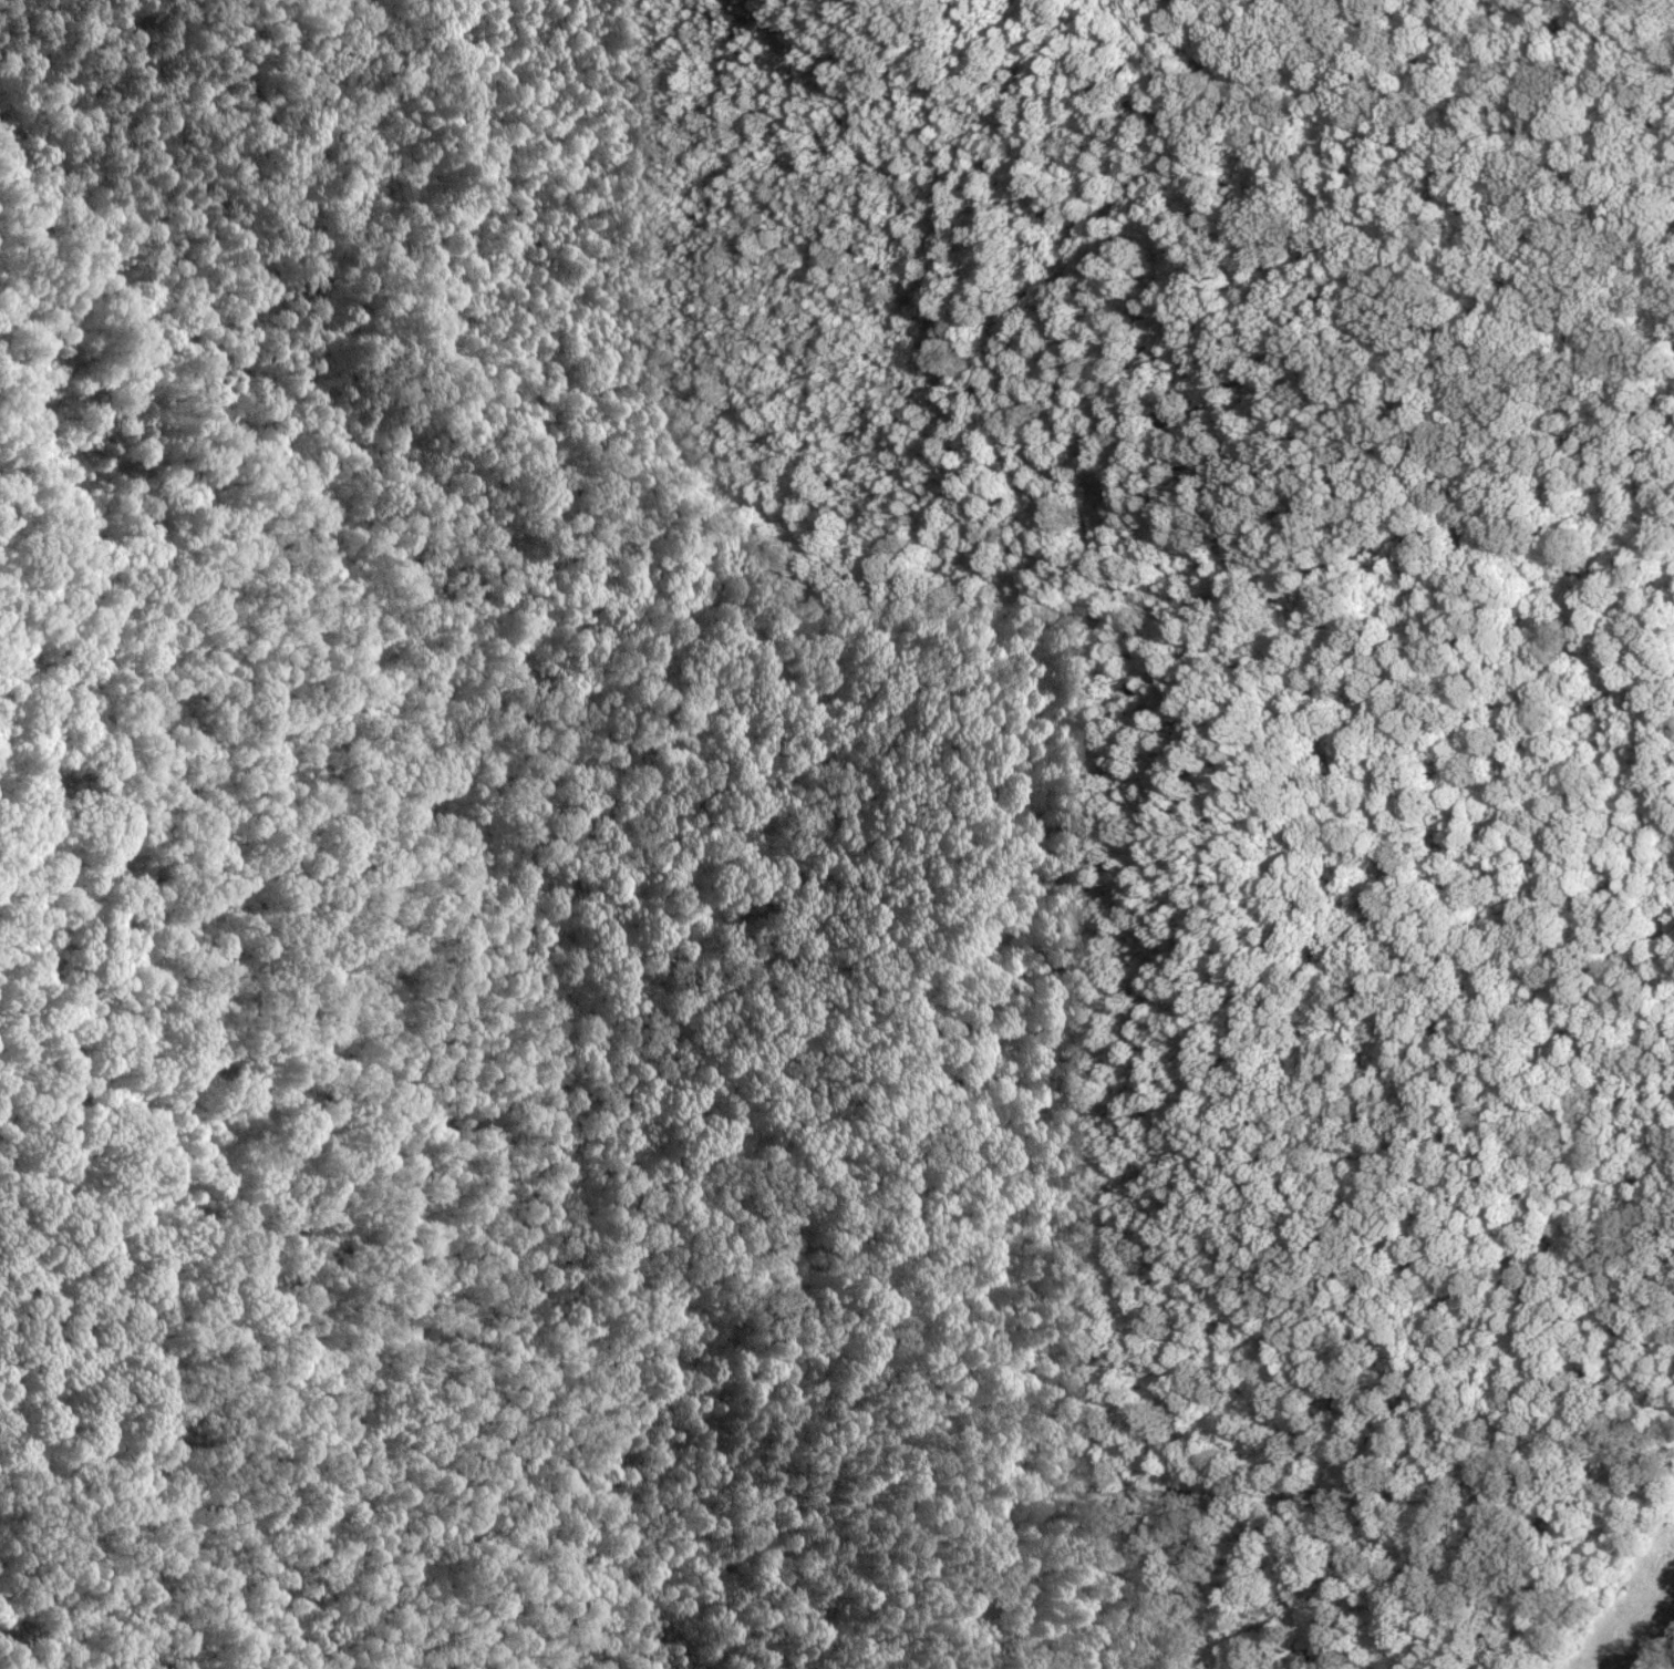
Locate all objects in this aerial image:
road: (1578, 1459)
road: (1310, 1486)
road: (926, 1595)

